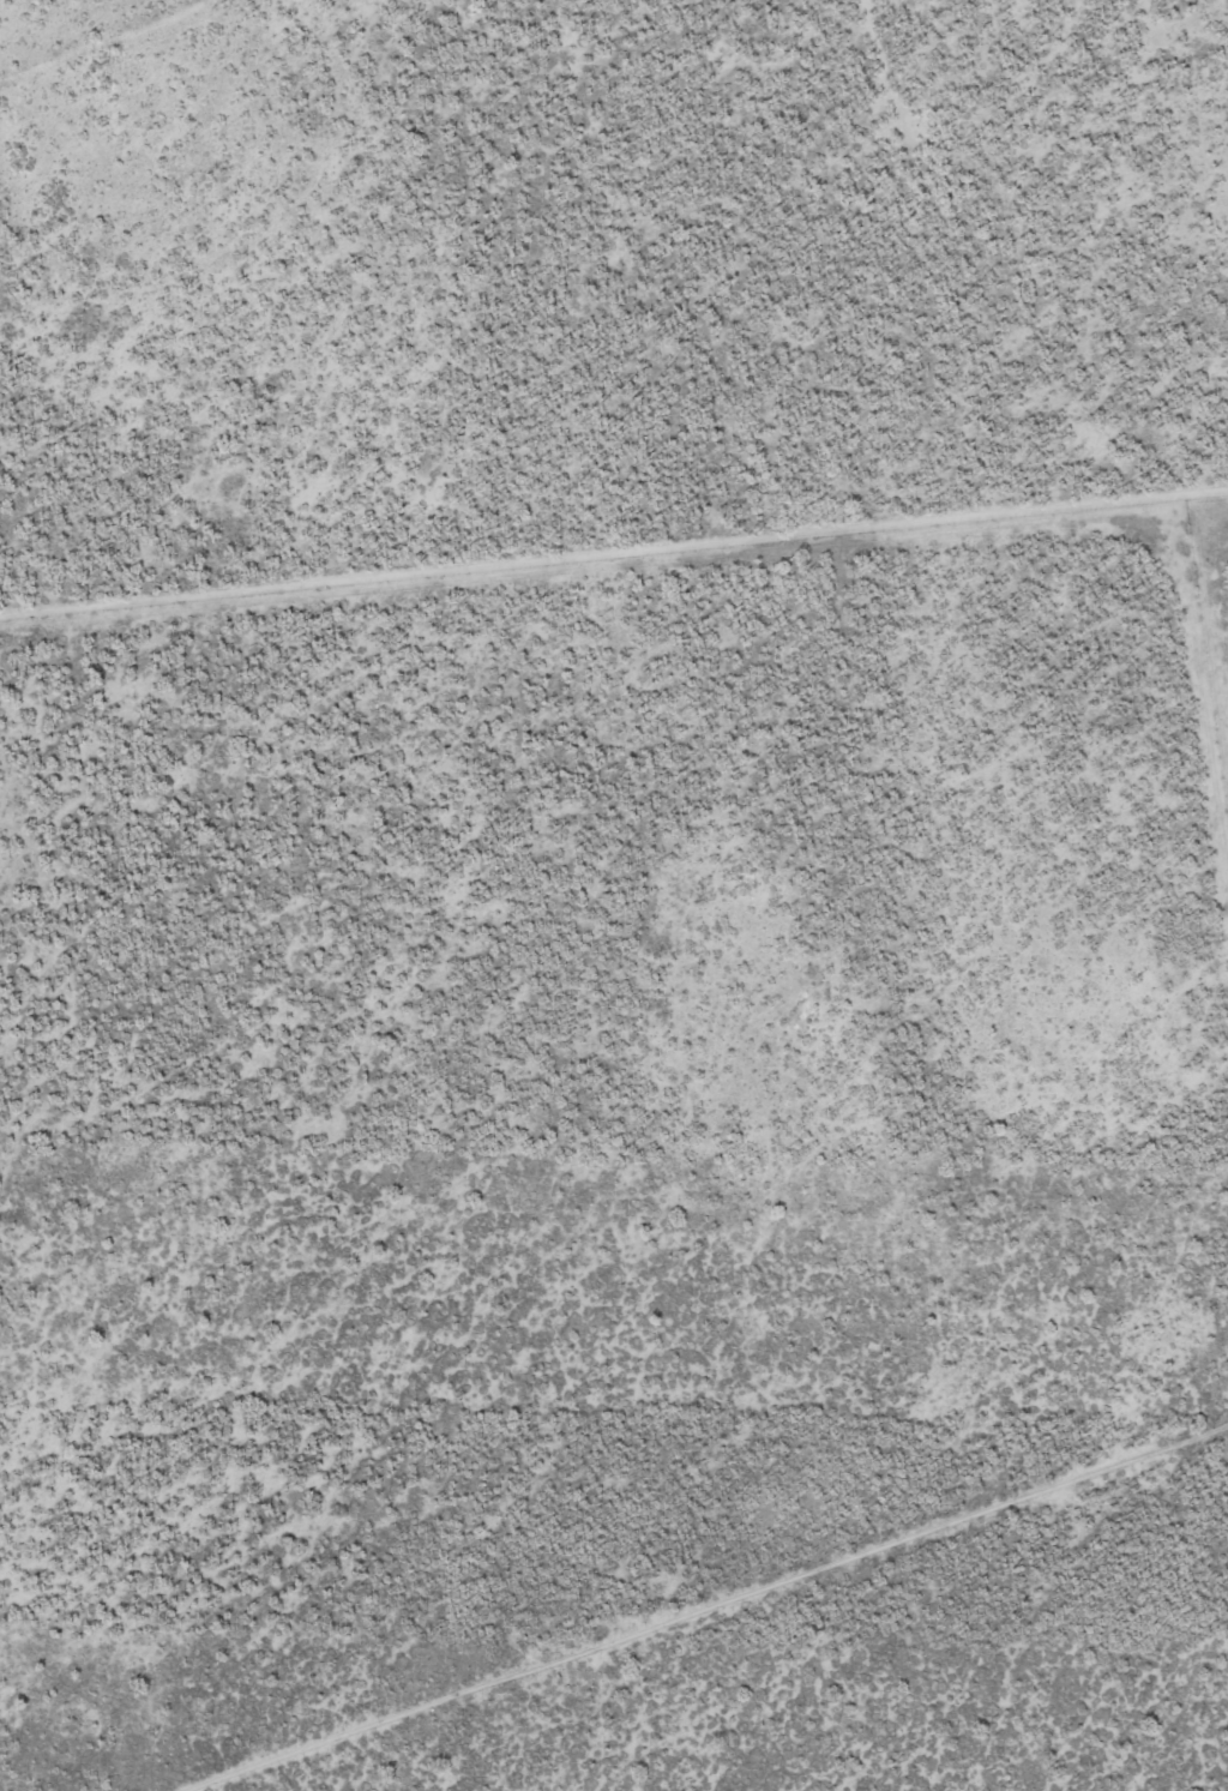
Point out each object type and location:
road: (107, 46)
road: (880, 61)

